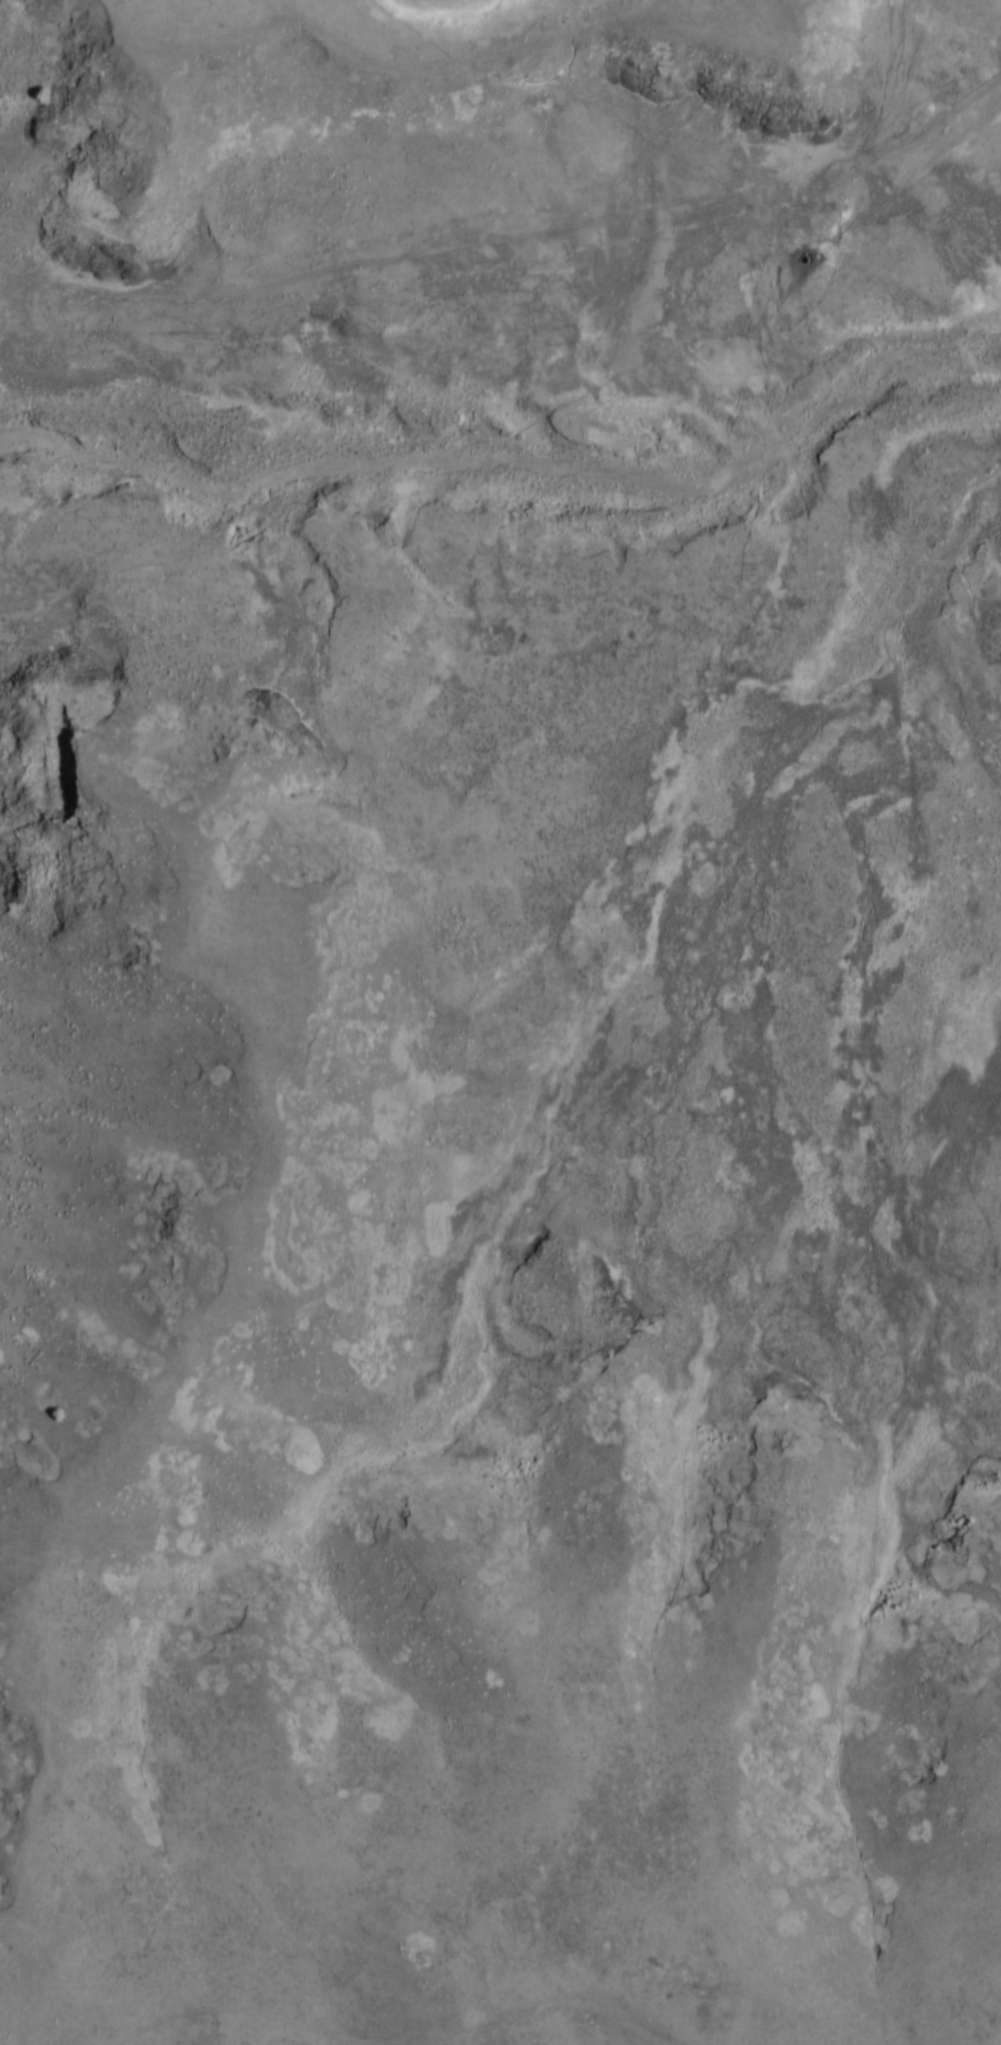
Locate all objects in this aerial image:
road: (514, 245)
road: (552, 2007)
road: (245, 2014)

